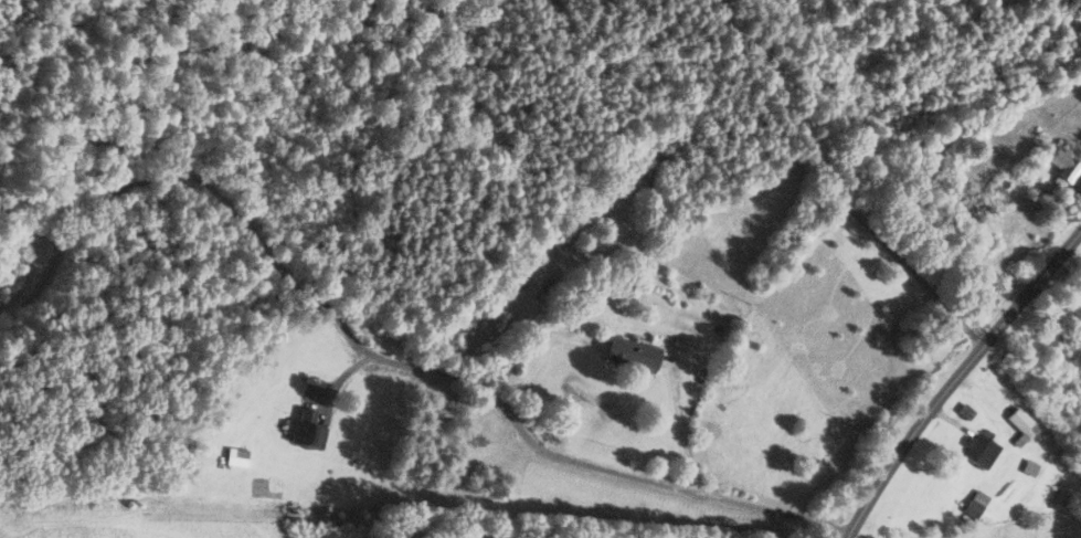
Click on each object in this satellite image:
building: (1063, 167)
road: (831, 184)
building: (964, 208)
building: (515, 281)
building: (634, 354)
road: (370, 355)
road: (955, 378)
building: (1021, 425)
road: (683, 429)
building: (308, 430)
building: (979, 451)

